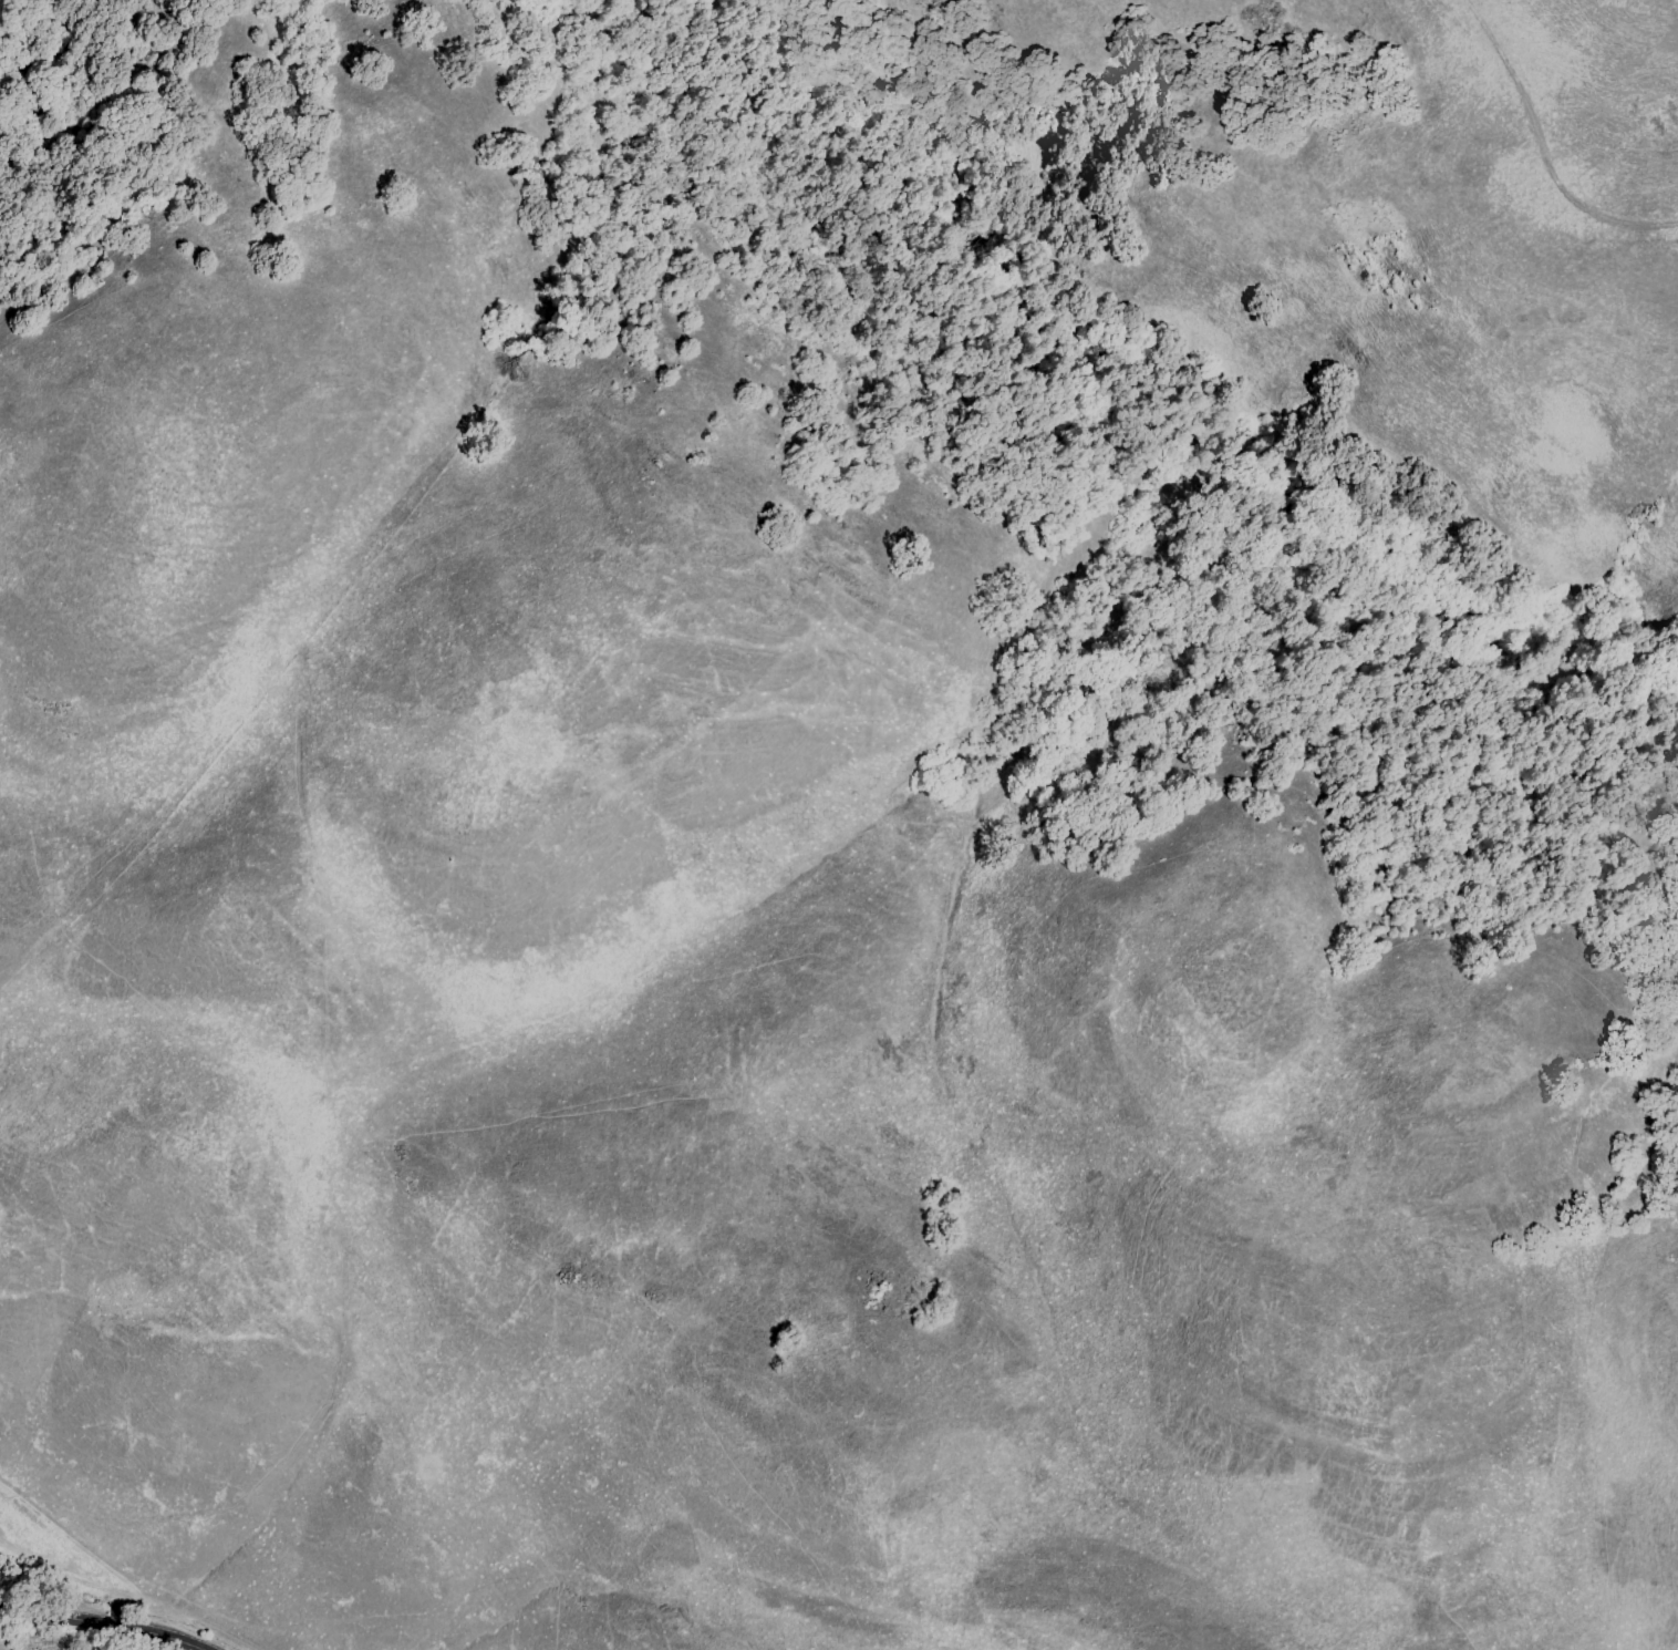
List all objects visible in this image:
road: (1537, 151)
road: (103, 1625)

